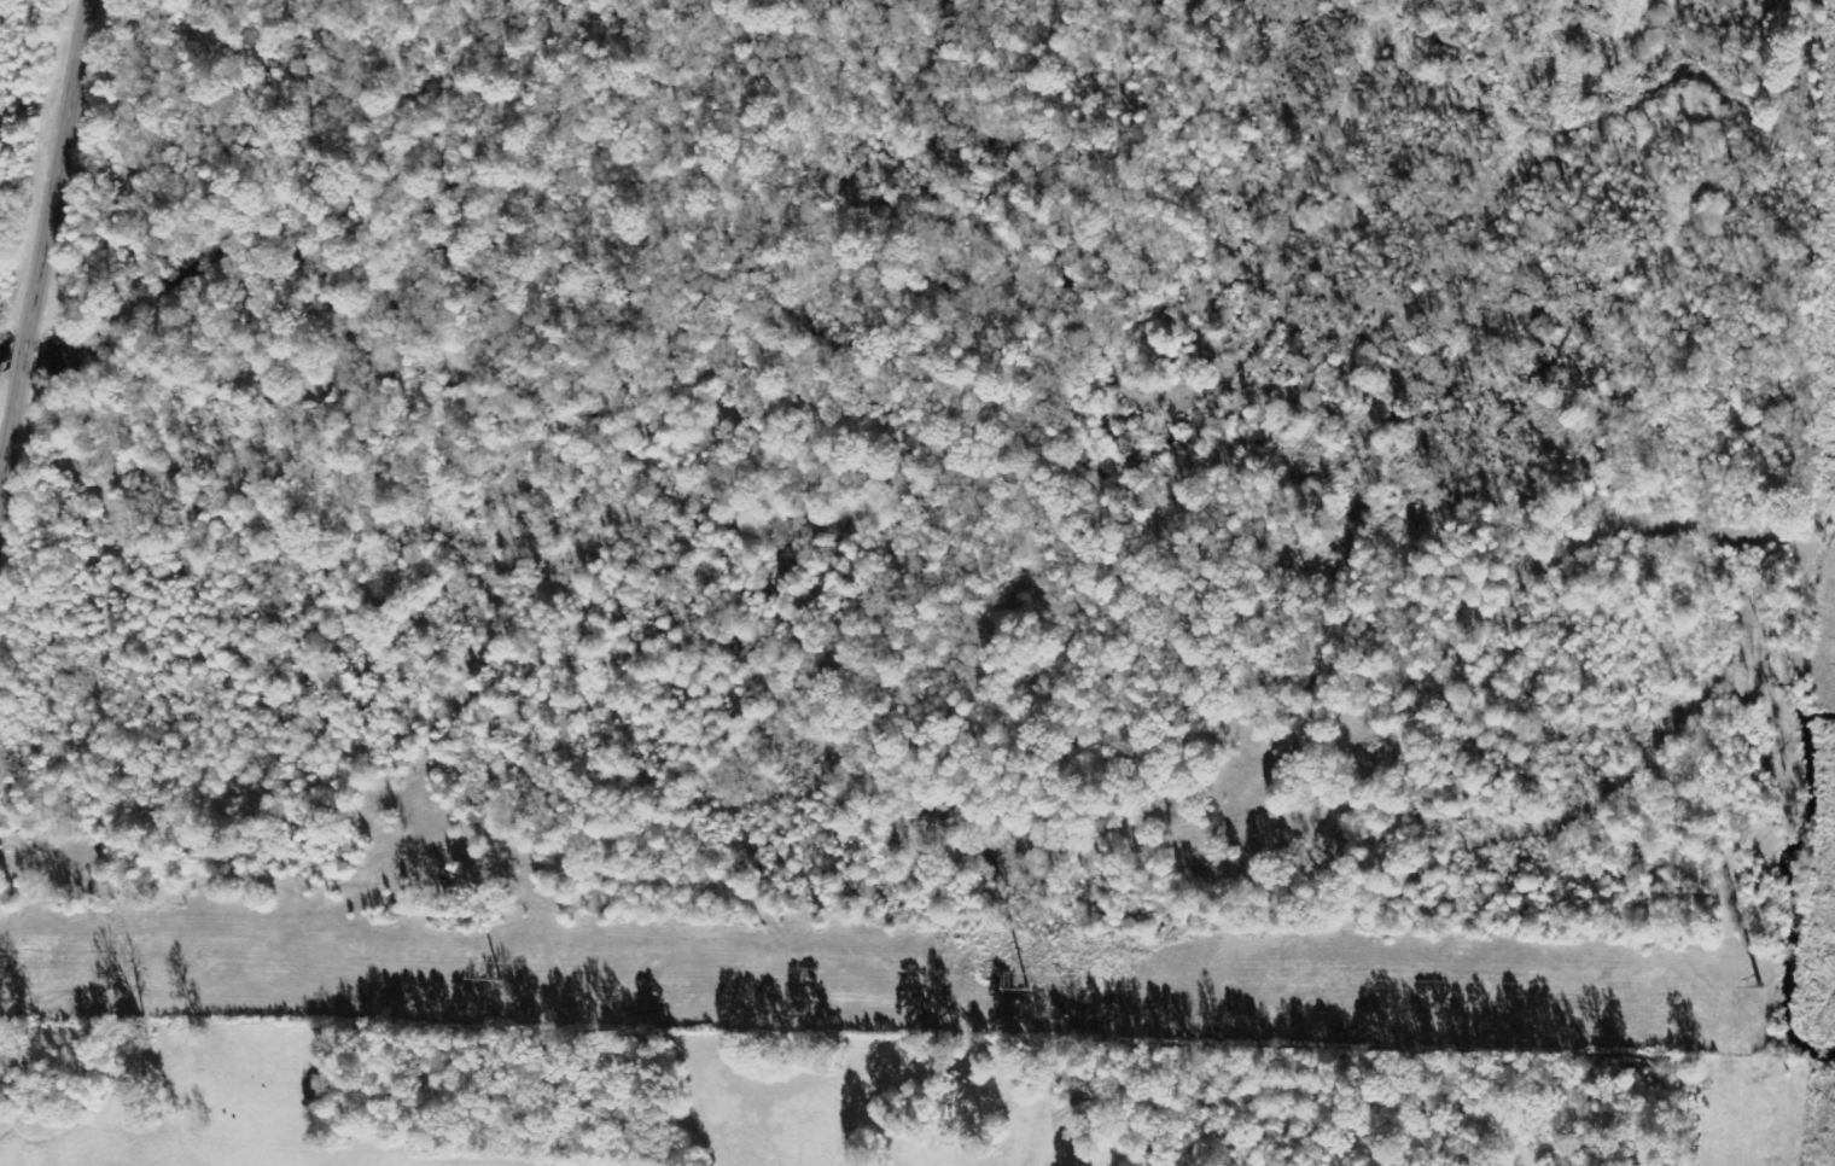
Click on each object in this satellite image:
road: (46, 246)
power tower: (1766, 989)

